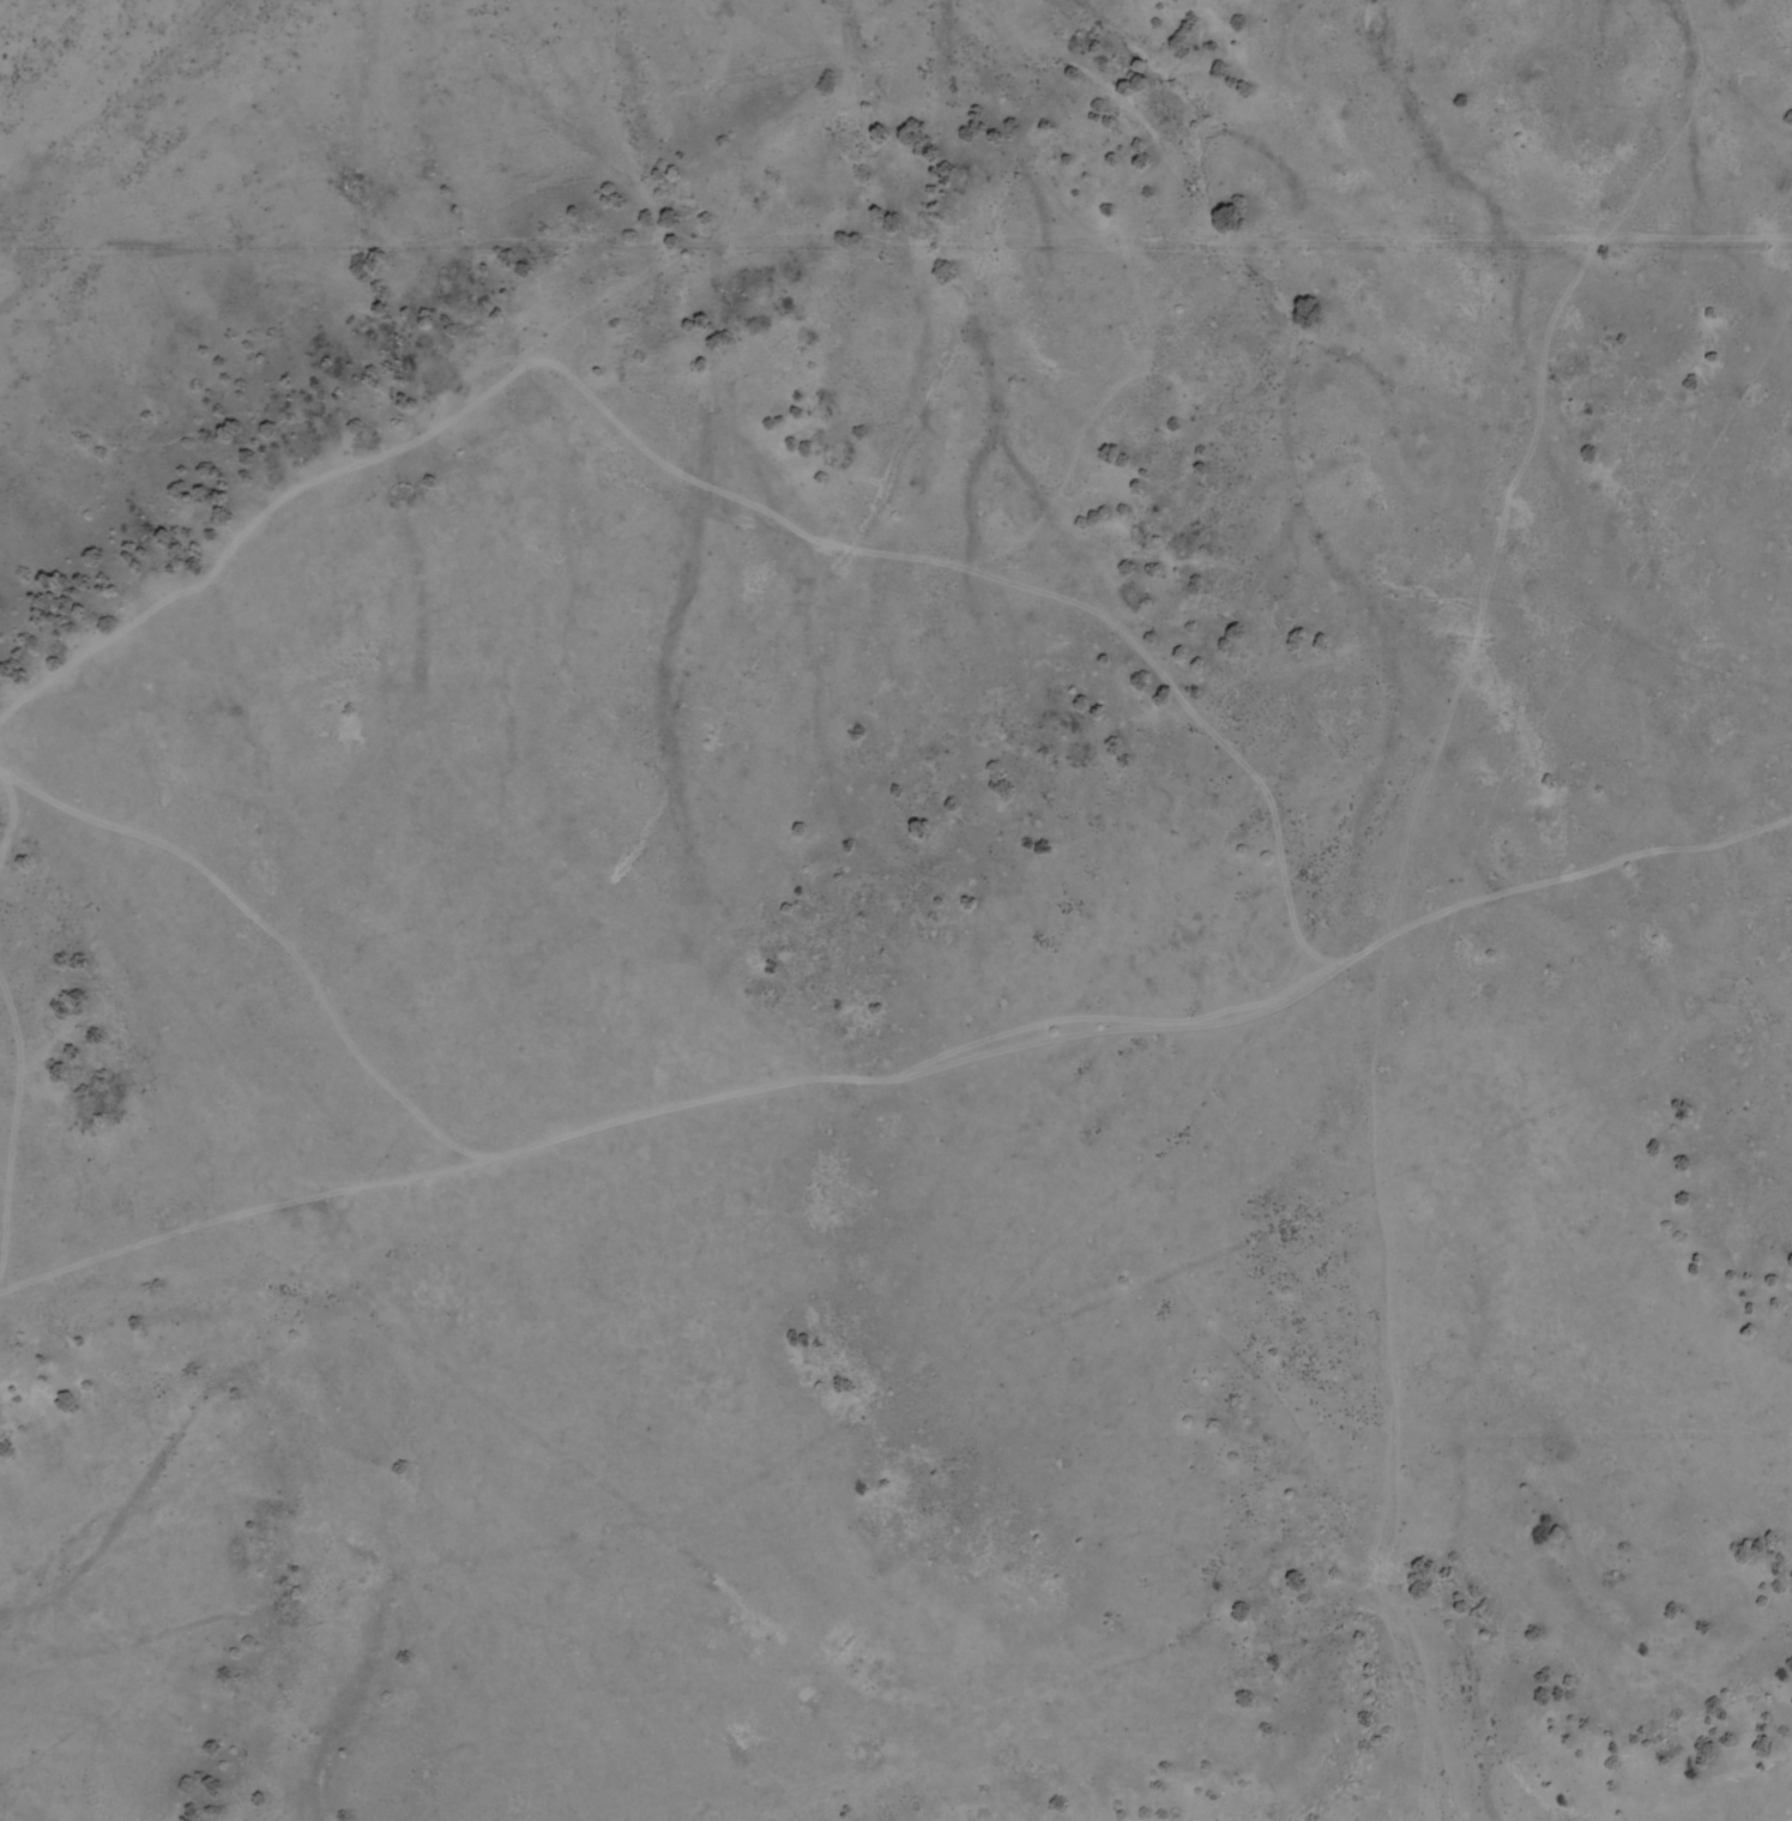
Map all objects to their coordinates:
road: (1139, 1029)

